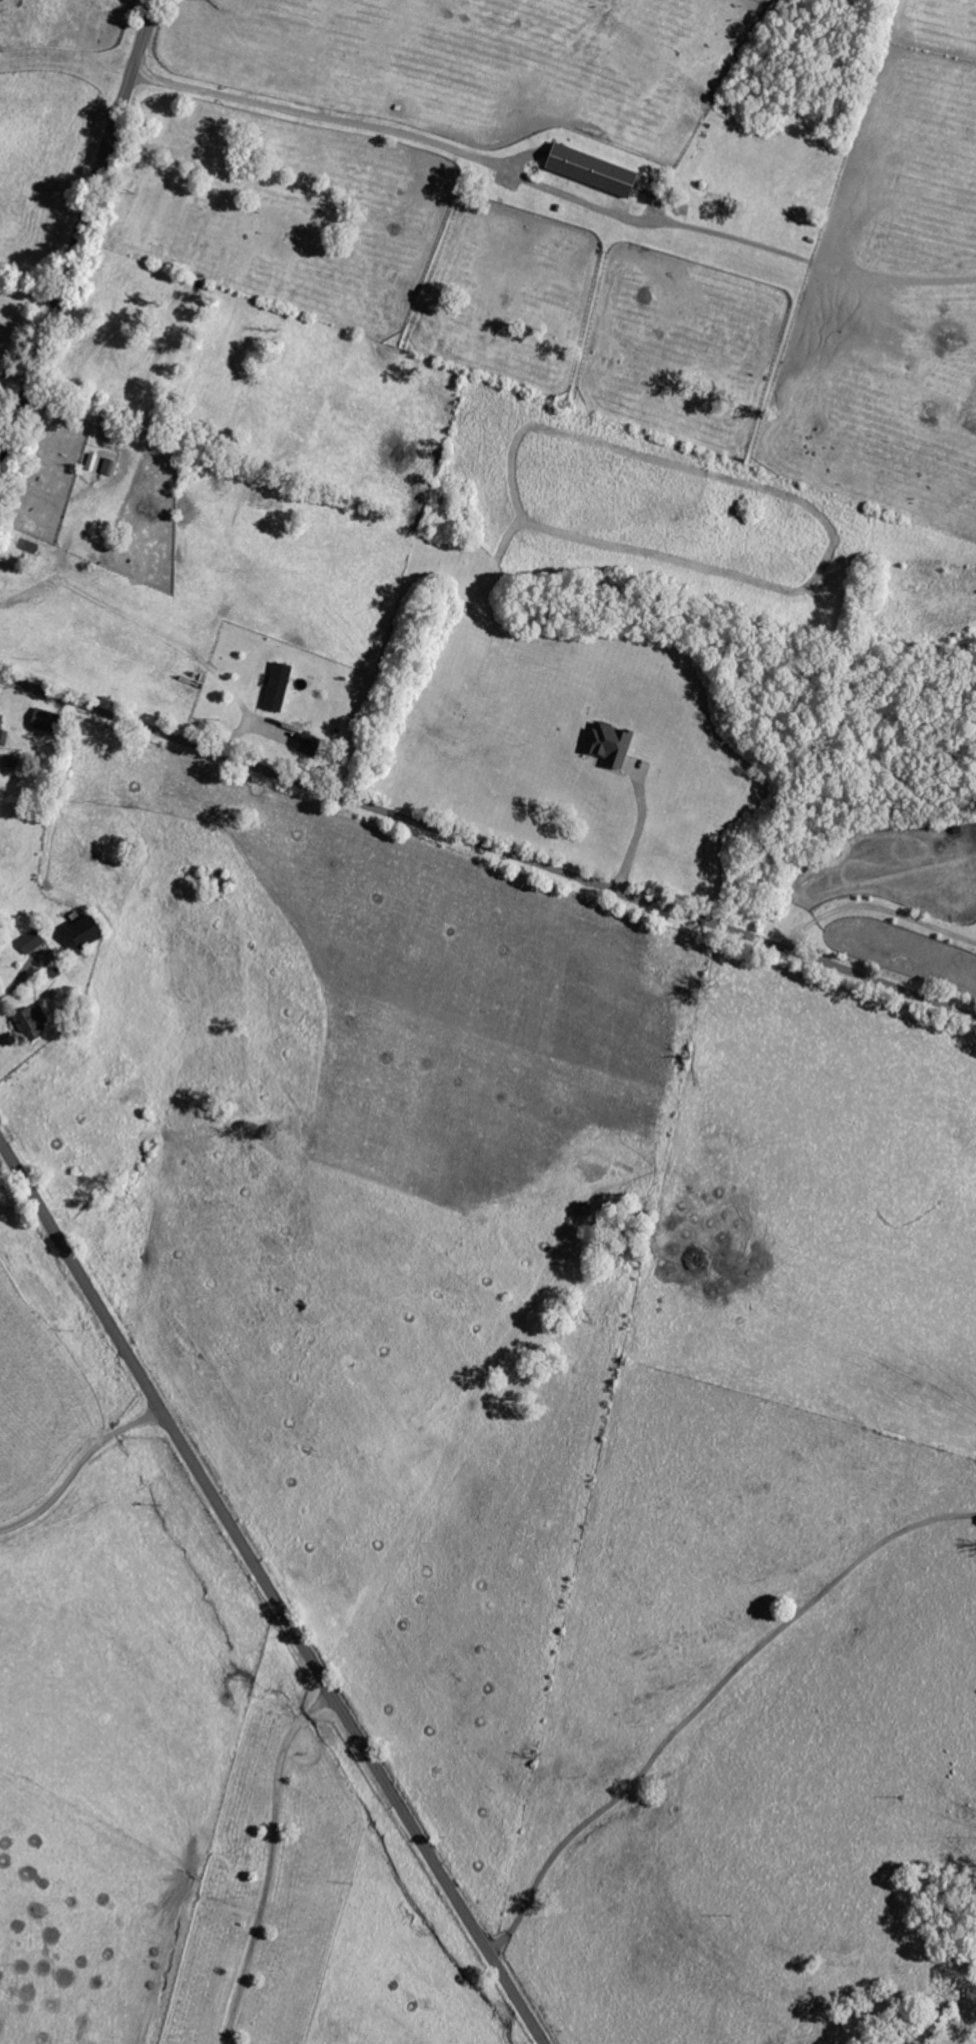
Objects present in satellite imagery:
road: (320, 113)
building: (600, 172)
road: (79, 239)
road: (16, 379)
building: (282, 688)
building: (0, 694)
building: (51, 722)
building: (5, 731)
building: (615, 746)
road: (636, 834)
road: (487, 848)
road: (875, 908)
building: (96, 932)
building: (35, 942)
building: (37, 1023)
road: (78, 1467)
road: (270, 1592)
road: (705, 1700)
road: (269, 1860)

